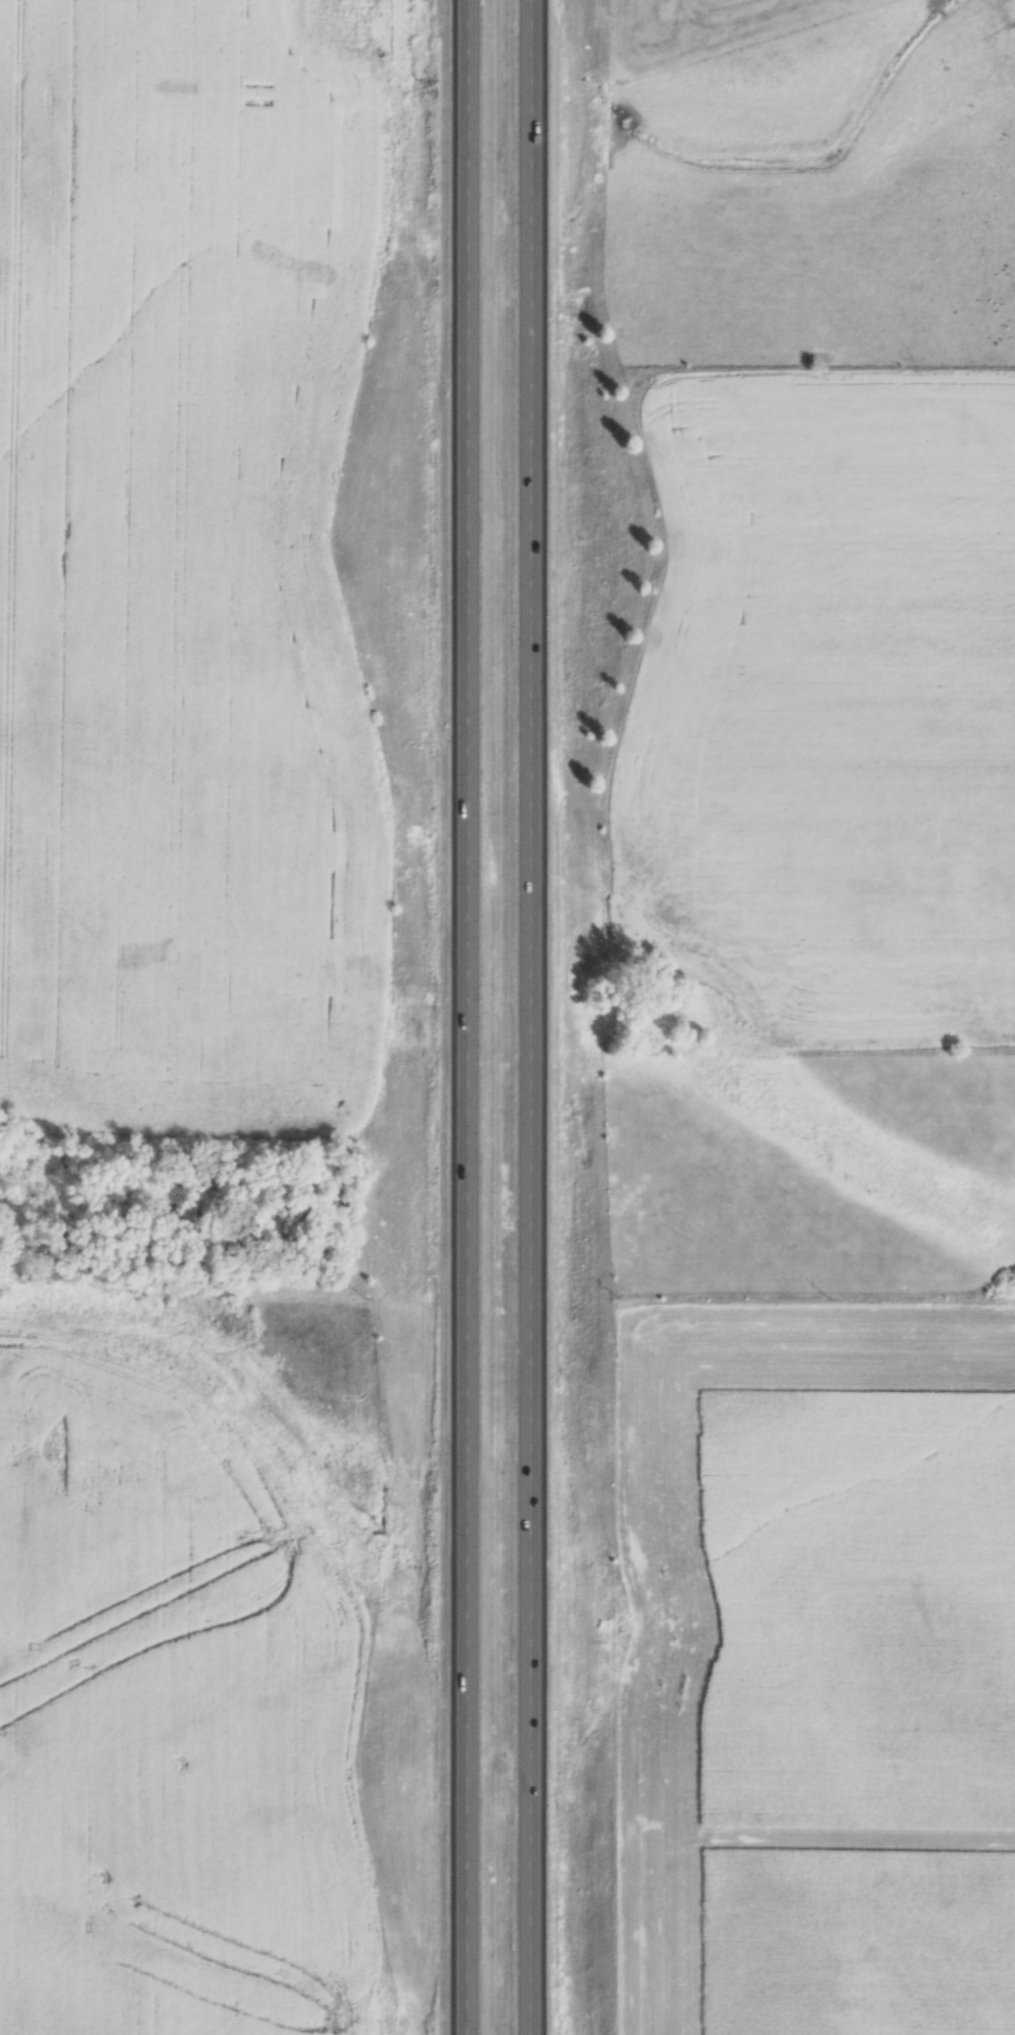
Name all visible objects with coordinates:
road: (461, 1017)
road: (525, 1017)

